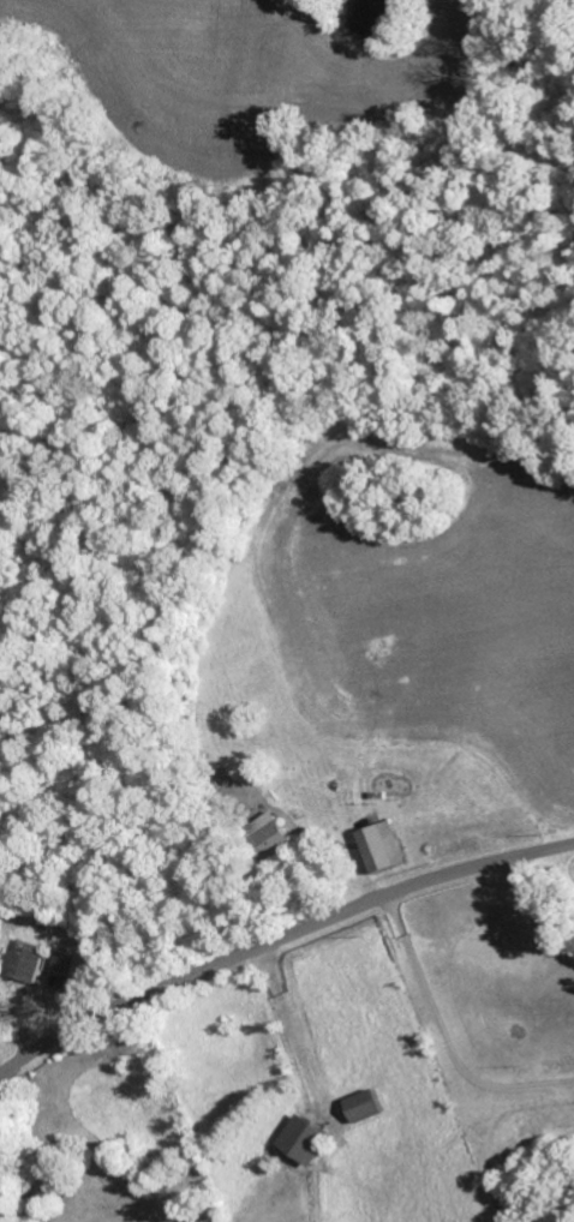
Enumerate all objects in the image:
road: (281, 139)
building: (389, 849)
road: (279, 941)
building: (42, 962)
building: (311, 1142)

